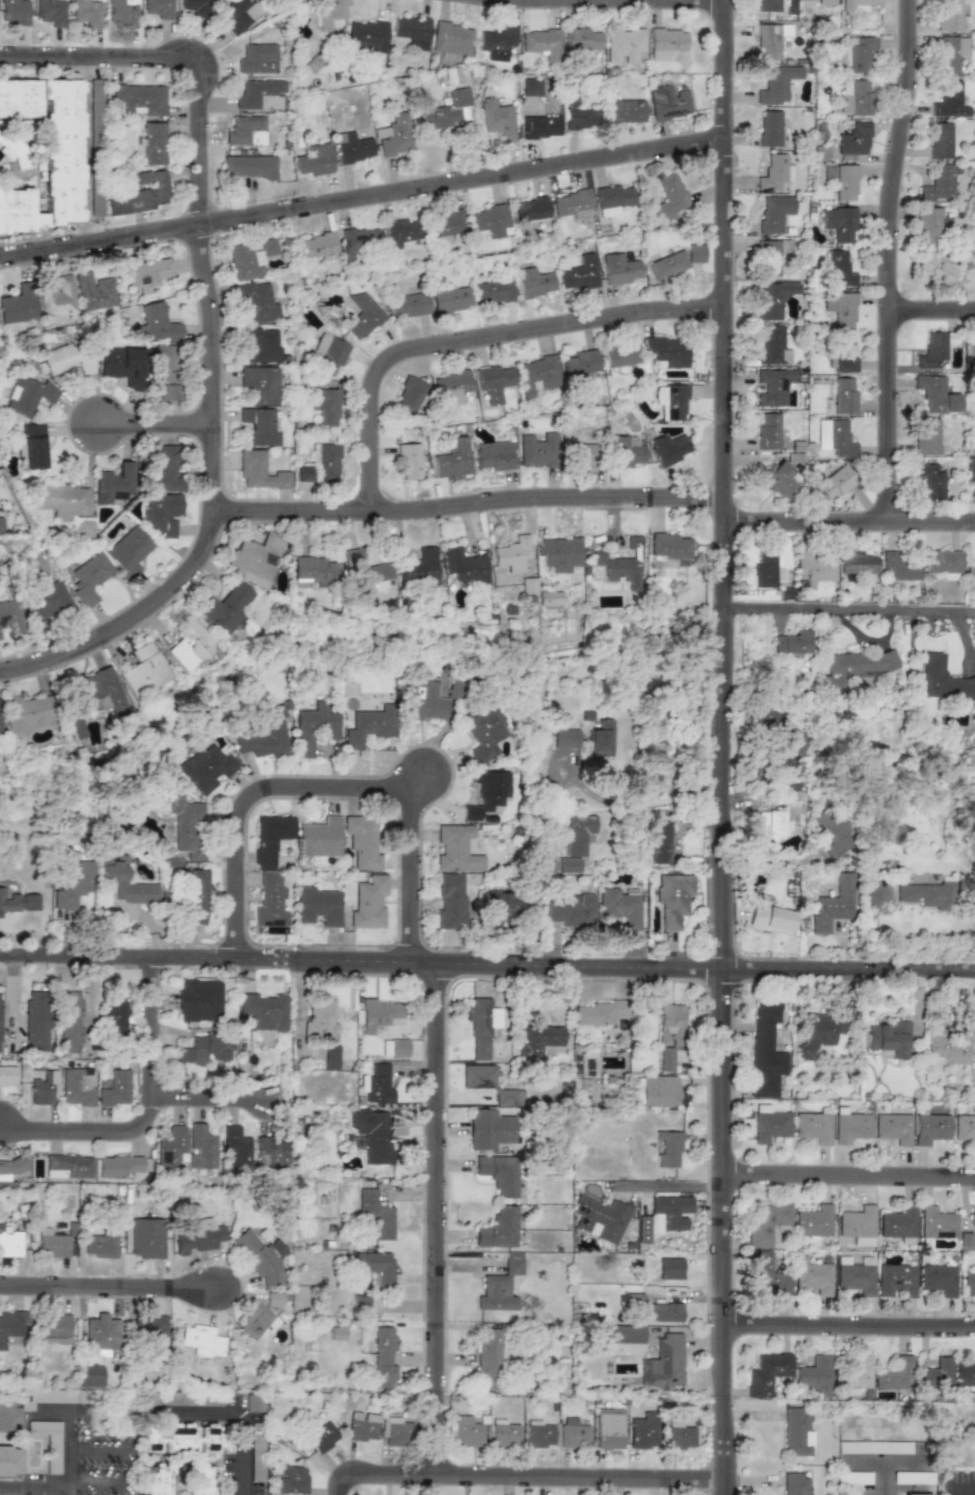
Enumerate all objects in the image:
road: (507, 0)
building: (826, 2)
building: (768, 5)
building: (858, 5)
building: (197, 7)
building: (159, 8)
building: (14, 12)
building: (51, 12)
building: (87, 12)
building: (331, 12)
building: (122, 13)
building: (240, 15)
building: (949, 15)
building: (412, 31)
building: (367, 36)
building: (452, 38)
building: (582, 39)
building: (668, 39)
building: (768, 41)
building: (497, 42)
building: (541, 43)
building: (624, 46)
building: (857, 54)
building: (951, 54)
building: (257, 59)
building: (452, 75)
building: (777, 84)
building: (531, 87)
building: (260, 95)
building: (854, 97)
building: (139, 99)
building: (949, 100)
building: (668, 103)
building: (445, 111)
building: (625, 111)
building: (580, 118)
building: (497, 119)
building: (541, 127)
building: (770, 128)
building: (246, 131)
building: (394, 136)
building: (854, 140)
building: (940, 140)
building: (153, 143)
building: (352, 147)
building: (38, 154)
building: (315, 160)
building: (249, 166)
building: (775, 172)
building: (845, 183)
building: (939, 185)
building: (140, 194)
road: (361, 195)
building: (670, 196)
building: (612, 199)
building: (572, 204)
building: (529, 210)
building: (774, 213)
building: (488, 221)
building: (839, 223)
building: (444, 224)
building: (929, 224)
building: (399, 232)
building: (357, 241)
building: (316, 245)
building: (695, 253)
building: (770, 257)
building: (250, 258)
road: (886, 259)
building: (667, 265)
building: (839, 268)
building: (619, 269)
building: (934, 269)
building: (147, 272)
building: (579, 274)
building: (533, 283)
building: (493, 291)
building: (94, 292)
building: (57, 298)
building: (773, 299)
building: (451, 300)
building: (257, 302)
building: (18, 305)
building: (409, 305)
building: (841, 309)
road: (930, 309)
building: (362, 316)
road: (210, 323)
building: (157, 324)
road: (474, 337)
building: (260, 345)
building: (772, 347)
building: (971, 350)
building: (932, 351)
building: (329, 352)
building: (668, 352)
building: (844, 353)
building: (621, 356)
building: (68, 358)
building: (163, 362)
building: (580, 364)
building: (123, 366)
building: (537, 375)
building: (493, 382)
building: (259, 384)
building: (451, 387)
building: (773, 387)
building: (167, 392)
building: (935, 395)
building: (28, 396)
building: (844, 396)
building: (411, 397)
building: (670, 402)
building: (324, 406)
road: (155, 421)
building: (259, 426)
building: (768, 432)
building: (926, 436)
building: (835, 438)
building: (33, 447)
building: (667, 449)
building: (538, 450)
building: (624, 453)
building: (582, 454)
building: (493, 456)
building: (452, 459)
building: (325, 461)
building: (409, 461)
building: (164, 469)
building: (259, 471)
building: (303, 473)
building: (779, 480)
building: (930, 481)
building: (835, 482)
building: (114, 484)
building: (61, 500)
road: (466, 502)
building: (162, 514)
road: (848, 520)
building: (1, 524)
building: (85, 529)
building: (669, 546)
building: (129, 550)
building: (512, 554)
building: (560, 554)
building: (253, 559)
building: (857, 563)
building: (944, 563)
building: (620, 565)
building: (465, 566)
building: (899, 566)
building: (419, 568)
building: (764, 570)
building: (313, 571)
building: (365, 573)
building: (970, 576)
building: (89, 578)
building: (529, 586)
building: (550, 599)
building: (48, 602)
building: (224, 607)
road: (848, 611)
building: (11, 616)
building: (0, 639)
building: (189, 643)
building: (793, 643)
building: (854, 667)
building: (144, 670)
building: (942, 680)
building: (102, 692)
building: (423, 702)
building: (25, 714)
building: (369, 726)
building: (314, 728)
building: (778, 730)
building: (482, 731)
building: (265, 735)
building: (565, 738)
building: (600, 739)
road: (720, 747)
building: (206, 767)
road: (657, 785)
road: (246, 793)
building: (487, 793)
building: (769, 821)
building: (187, 826)
building: (578, 834)
building: (833, 835)
building: (320, 838)
building: (362, 841)
building: (660, 841)
building: (456, 849)
road: (770, 861)
building: (569, 865)
building: (270, 871)
road: (409, 871)
building: (124, 881)
building: (72, 884)
building: (927, 895)
building: (196, 896)
building: (673, 898)
building: (450, 901)
building: (18, 902)
building: (369, 903)
building: (833, 905)
building: (318, 906)
building: (499, 907)
building: (620, 908)
building: (572, 912)
building: (770, 916)
road: (487, 959)
building: (200, 1001)
building: (264, 1011)
building: (599, 1013)
building: (380, 1015)
building: (115, 1018)
building: (36, 1021)
building: (320, 1021)
building: (70, 1022)
building: (670, 1024)
building: (481, 1025)
building: (974, 1026)
building: (818, 1034)
building: (889, 1038)
building: (0, 1039)
building: (539, 1040)
building: (206, 1048)
building: (394, 1048)
building: (949, 1048)
building: (766, 1052)
building: (331, 1057)
building: (666, 1059)
building: (587, 1065)
building: (7, 1076)
building: (377, 1084)
building: (77, 1086)
building: (45, 1088)
building: (115, 1089)
building: (658, 1091)
road: (209, 1094)
road: (151, 1117)
building: (770, 1124)
building: (850, 1126)
building: (814, 1127)
building: (964, 1127)
building: (893, 1128)
building: (931, 1128)
building: (489, 1129)
building: (372, 1135)
building: (171, 1146)
building: (974, 1147)
building: (201, 1148)
building: (668, 1148)
building: (236, 1149)
building: (273, 1154)
building: (68, 1166)
building: (118, 1166)
road: (848, 1171)
building: (499, 1173)
building: (4, 1177)
road: (669, 1187)
road: (433, 1215)
building: (971, 1215)
building: (664, 1216)
building: (375, 1217)
building: (601, 1218)
building: (765, 1221)
building: (813, 1221)
building: (897, 1223)
building: (936, 1223)
building: (857, 1225)
building: (499, 1229)
building: (776, 1233)
building: (199, 1237)
building: (147, 1238)
building: (51, 1244)
building: (100, 1246)
building: (262, 1257)
building: (375, 1266)
building: (670, 1268)
building: (765, 1276)
building: (813, 1277)
building: (854, 1277)
building: (937, 1279)
building: (895, 1280)
building: (968, 1283)
road: (109, 1285)
building: (500, 1288)
building: (634, 1298)
building: (366, 1305)
building: (666, 1312)
building: (255, 1321)
building: (54, 1325)
road: (848, 1325)
building: (10, 1326)
building: (150, 1330)
building: (102, 1332)
building: (337, 1334)
building: (624, 1334)
building: (202, 1341)
building: (384, 1359)
building: (488, 1359)
building: (666, 1363)
building: (766, 1373)
building: (965, 1373)
building: (936, 1374)
building: (894, 1375)
building: (90, 1376)
building: (815, 1376)
building: (54, 1397)
building: (254, 1403)
park: (113, 1411)
road: (235, 1414)
building: (8, 1415)
building: (362, 1427)
building: (609, 1429)
building: (465, 1431)
building: (643, 1431)
building: (395, 1432)
building: (796, 1432)
road: (70, 1434)
building: (539, 1434)
building: (573, 1434)
building: (505, 1435)
building: (679, 1435)
building: (321, 1437)
building: (180, 1438)
building: (49, 1442)
road: (98, 1448)
road: (883, 1460)
building: (10, 1461)
parking lot: (114, 1464)
road: (526, 1473)
road: (884, 1478)
road: (97, 1479)
building: (200, 1479)
building: (155, 1480)
building: (292, 1480)
road: (334, 1482)
building: (796, 1484)
road: (39, 1486)
road: (962, 1489)
road: (949, 1492)
building: (916, 1494)

